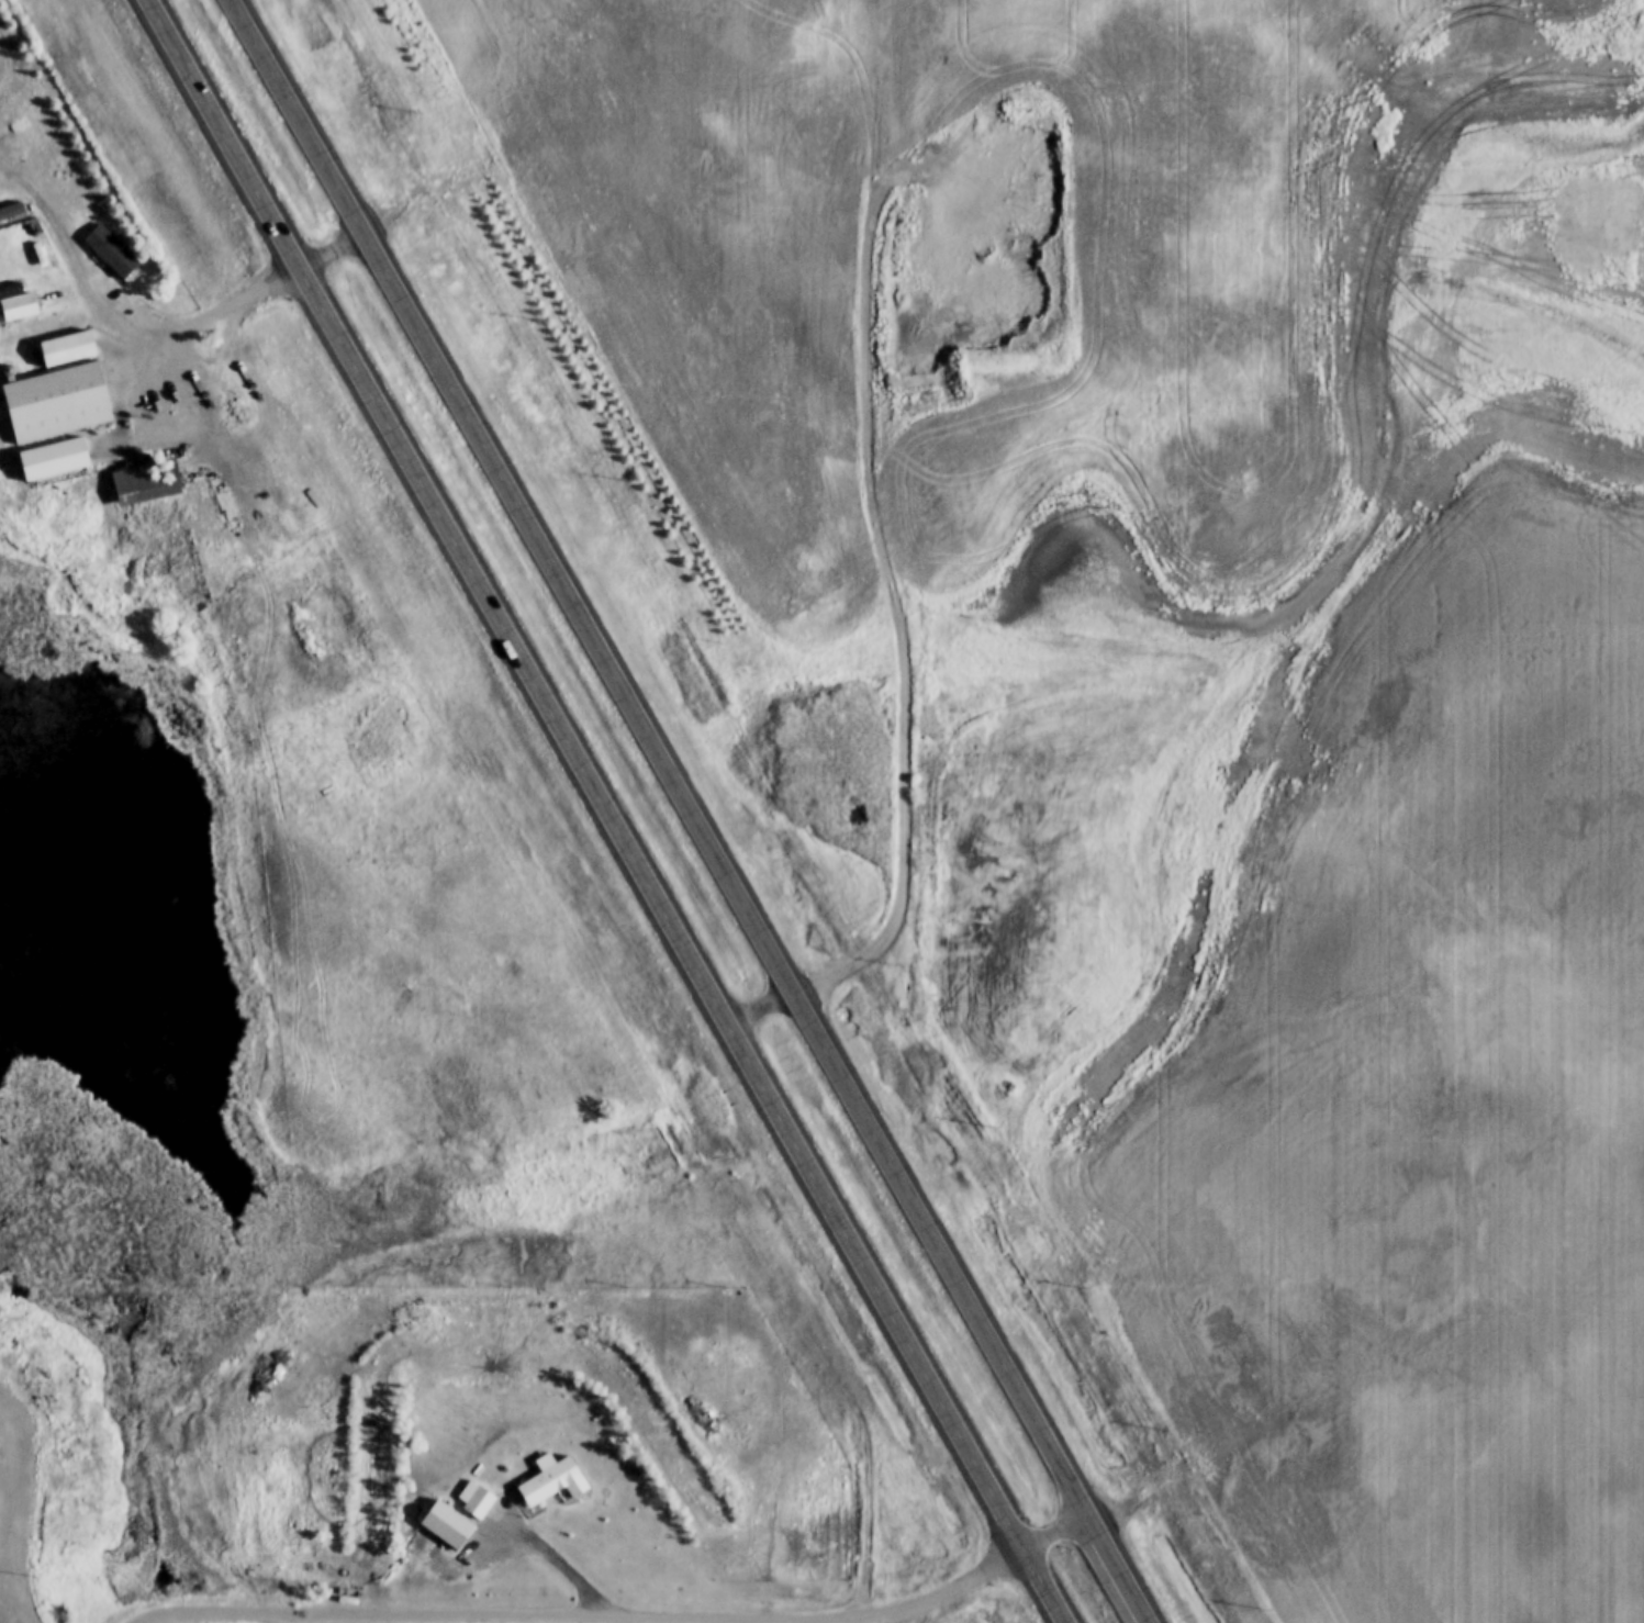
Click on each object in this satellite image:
quarry: (987, 244)
building: (111, 251)
building: (19, 307)
road: (121, 398)
building: (54, 403)
building: (147, 482)
road: (899, 597)
road: (655, 752)
road: (606, 811)
road: (1157, 878)
building: (555, 1478)
road: (23, 1492)
building: (480, 1503)
road: (1049, 1521)
building: (447, 1525)
road: (556, 1557)
road: (1114, 1564)
road: (11, 1596)
road: (26, 1612)
road: (591, 1616)

